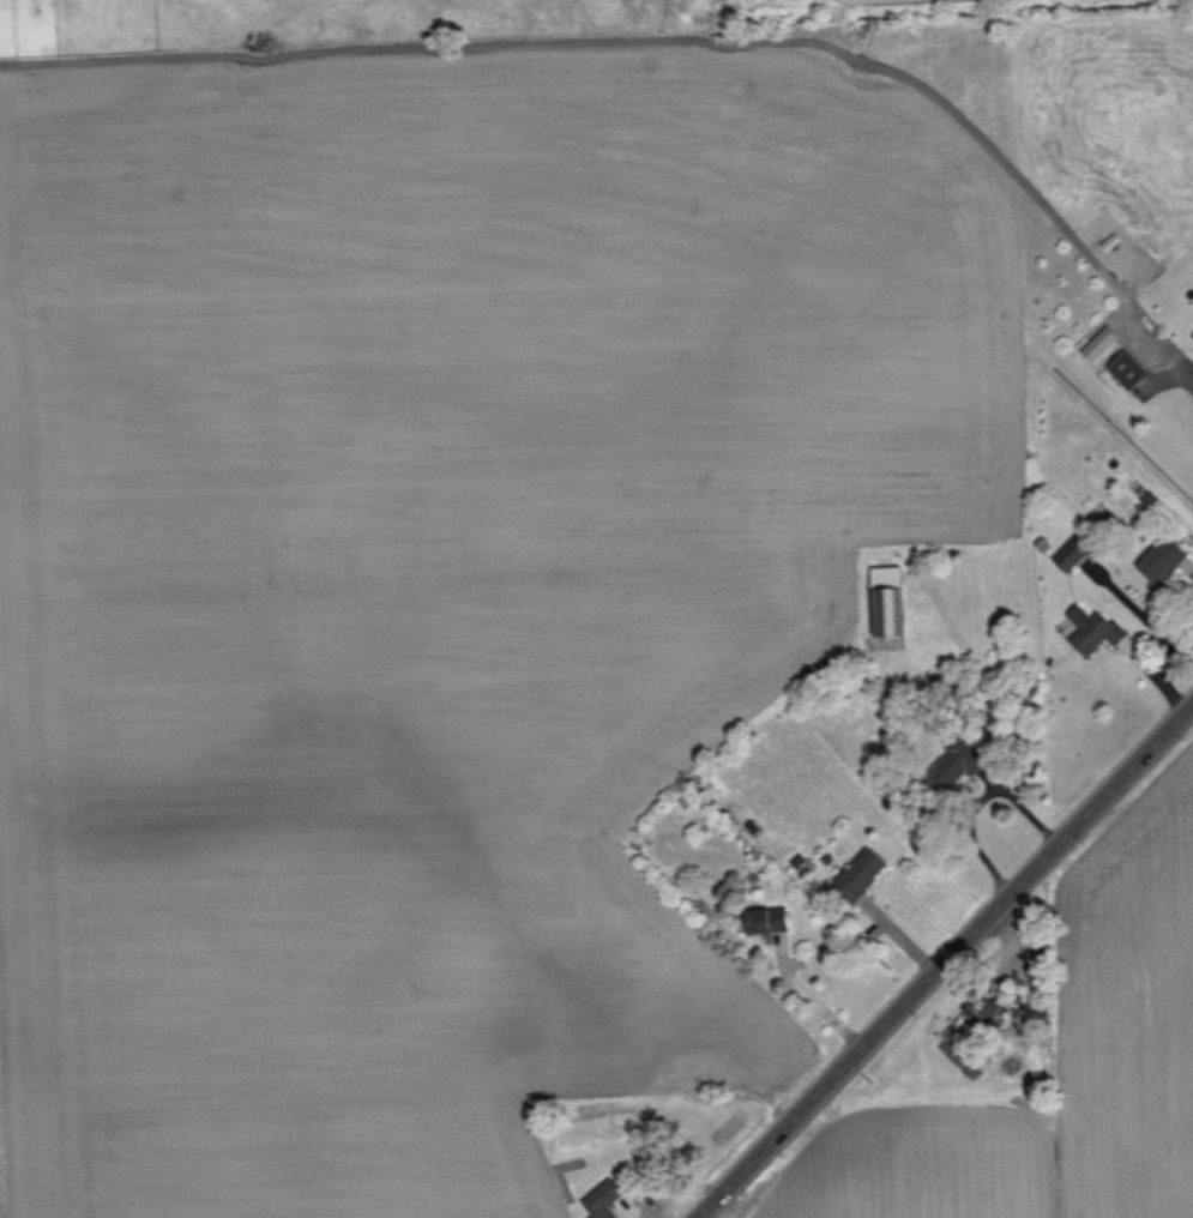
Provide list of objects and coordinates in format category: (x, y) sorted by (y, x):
road: (675, 44)
building: (1101, 343)
building: (1131, 369)
building: (1153, 501)
building: (1073, 551)
building: (1167, 559)
building: (892, 601)
building: (1096, 628)
building: (965, 754)
building: (863, 869)
building: (771, 917)
road: (948, 964)
road: (814, 1000)
building: (978, 1011)
building: (607, 1196)

